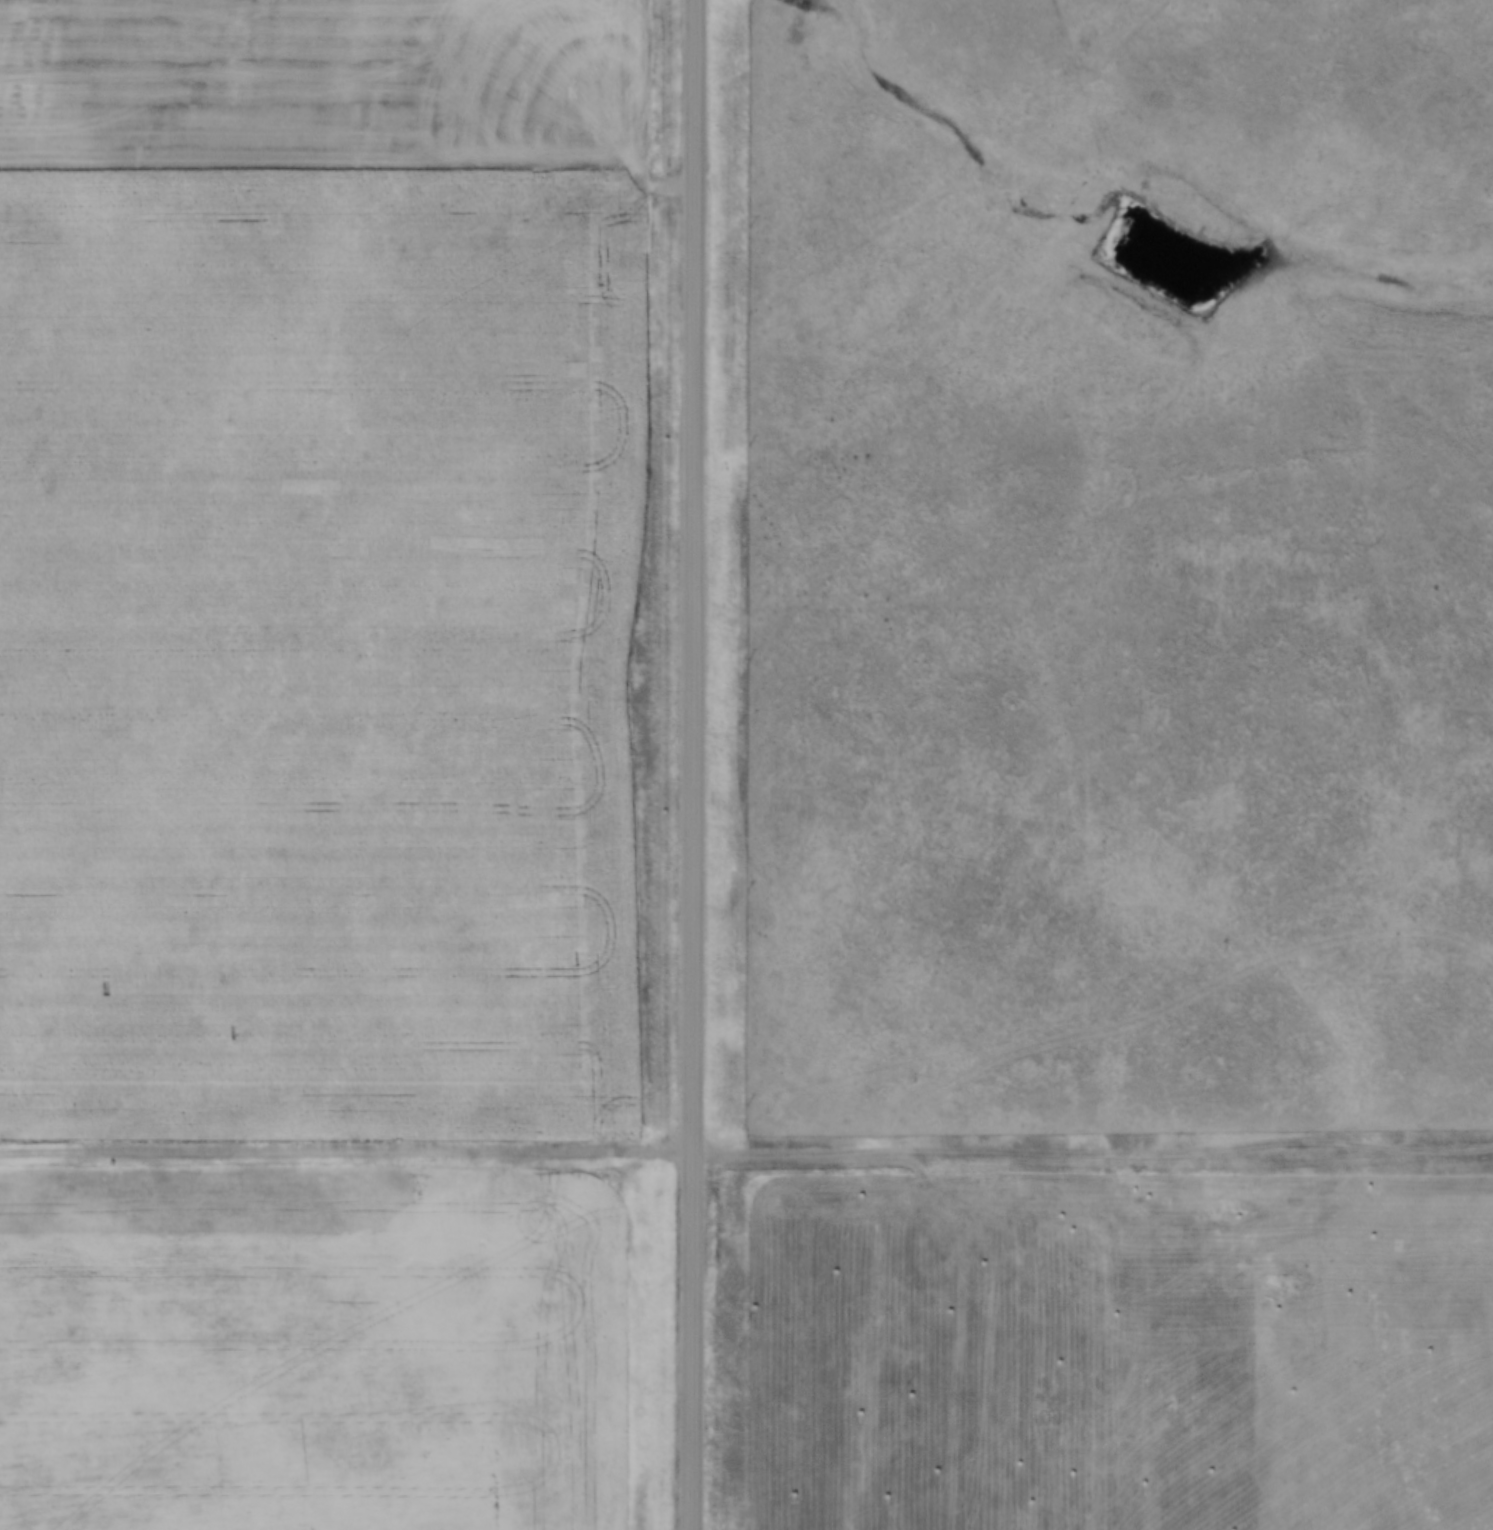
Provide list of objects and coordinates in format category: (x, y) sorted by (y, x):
road: (698, 764)
road: (747, 1155)

